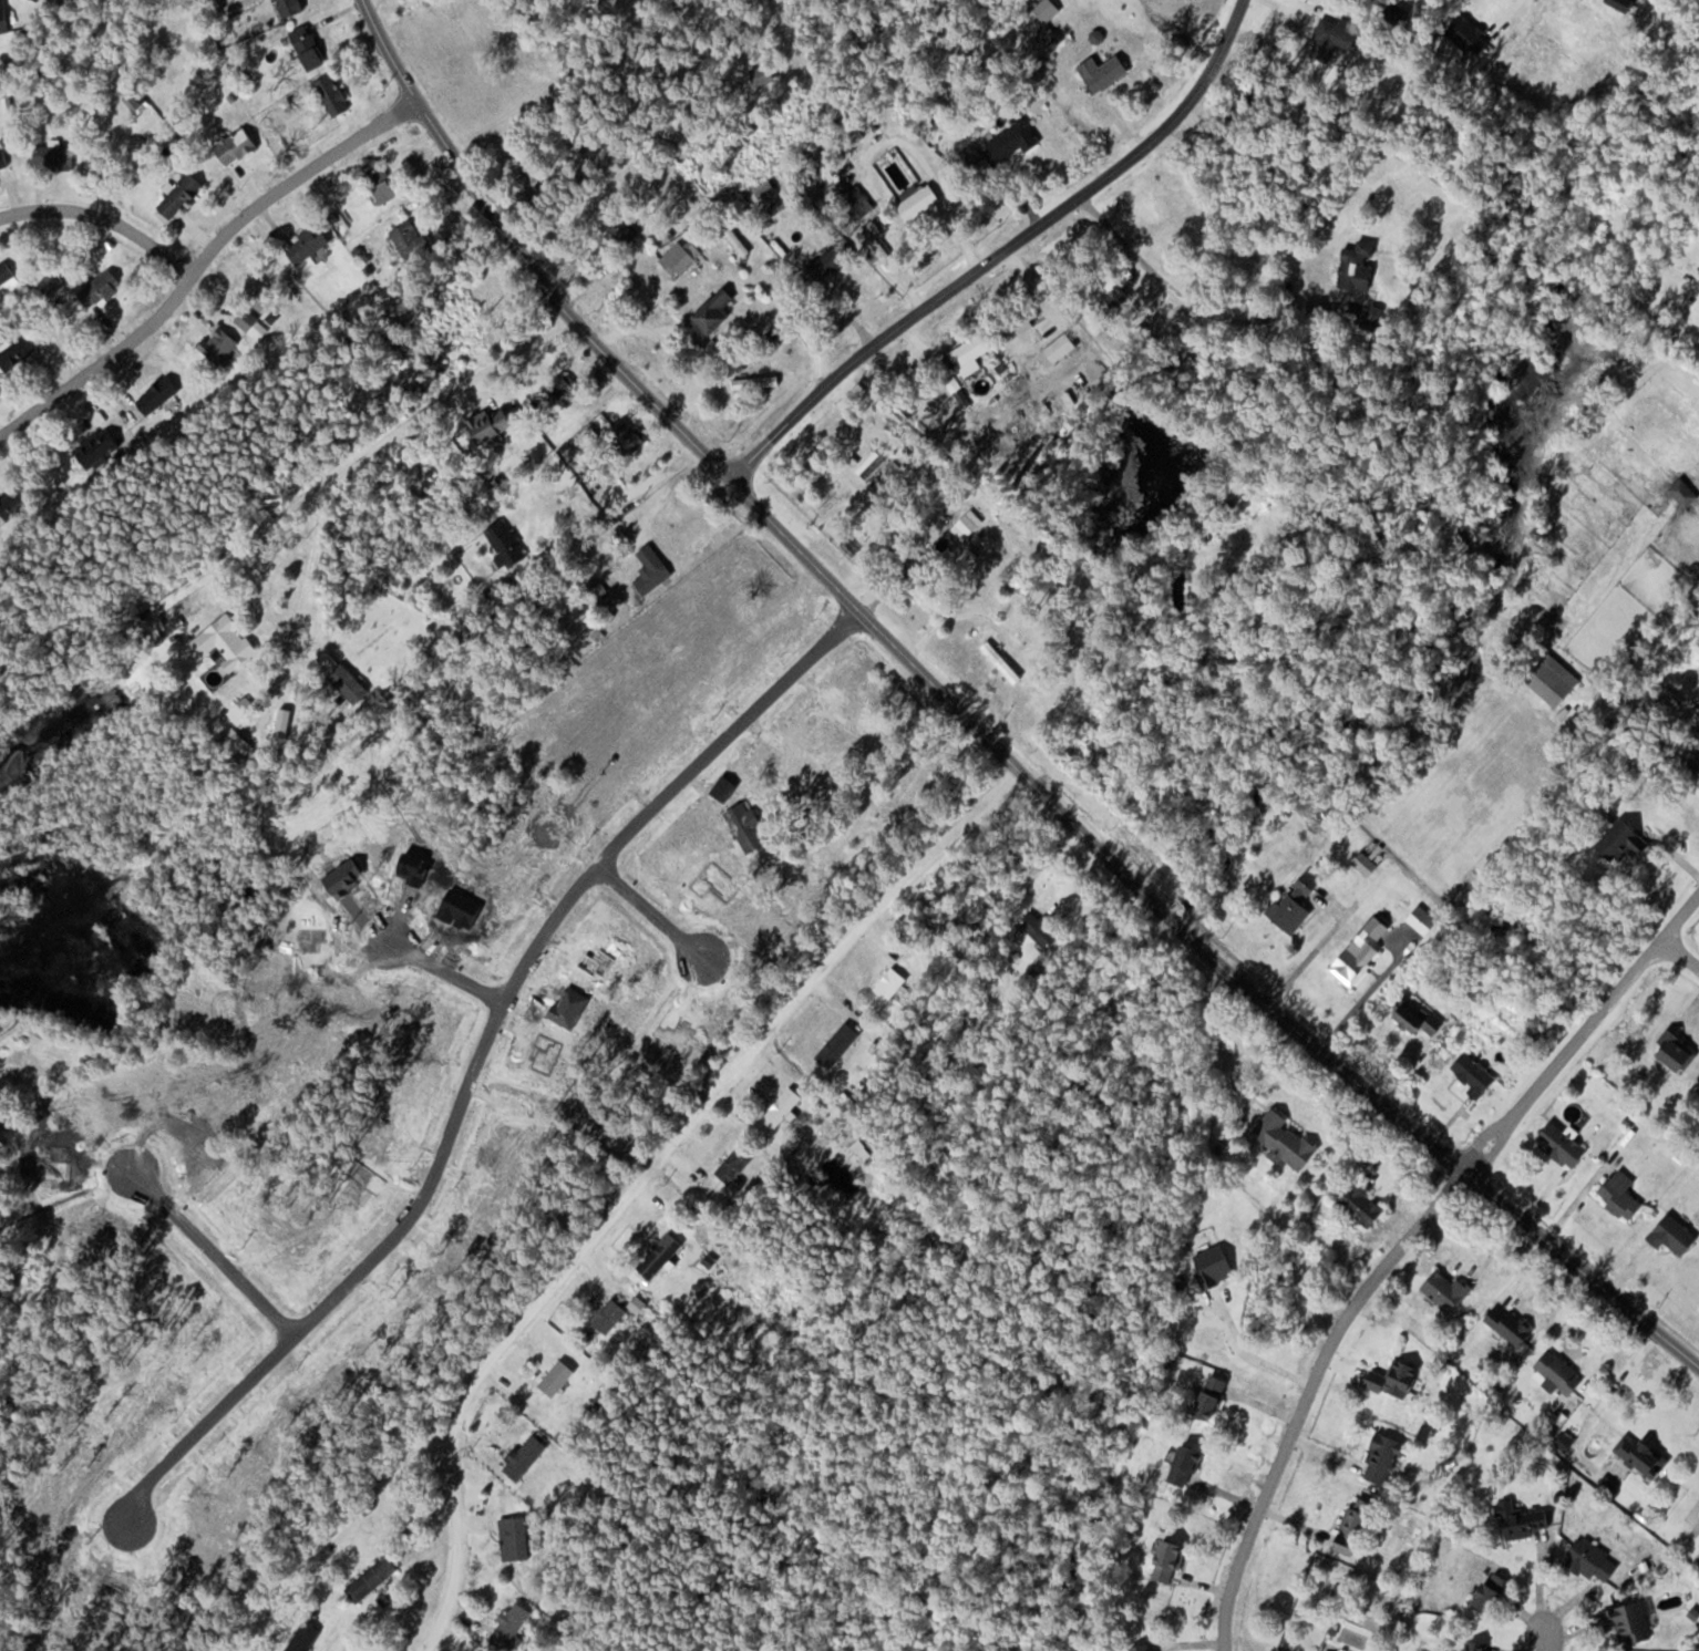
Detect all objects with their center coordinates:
building: (39, 0)
building: (291, 7)
building: (1048, 10)
building: (3, 17)
building: (1335, 37)
building: (309, 48)
building: (1105, 72)
building: (764, 74)
building: (334, 95)
building: (136, 99)
building: (1012, 142)
building: (237, 145)
building: (55, 154)
building: (3, 158)
building: (534, 169)
building: (381, 180)
building: (182, 194)
building: (918, 199)
building: (783, 208)
road: (104, 216)
building: (620, 230)
building: (411, 237)
building: (738, 240)
building: (308, 243)
building: (881, 248)
road: (1003, 254)
building: (681, 256)
road: (203, 261)
building: (832, 261)
building: (1359, 265)
building: (6, 272)
building: (1119, 282)
building: (101, 288)
road: (1180, 291)
building: (713, 312)
building: (253, 323)
building: (220, 344)
building: (974, 351)
building: (19, 352)
building: (756, 382)
building: (158, 394)
building: (492, 425)
road: (387, 435)
building: (99, 447)
building: (872, 464)
building: (885, 474)
building: (19, 501)
building: (760, 567)
building: (652, 568)
building: (231, 640)
building: (1002, 661)
building: (1555, 680)
building: (696, 683)
building: (245, 708)
road: (979, 730)
building: (746, 827)
building: (1625, 840)
building: (1366, 864)
building: (689, 873)
building: (1295, 905)
building: (1423, 923)
building: (1042, 929)
road: (1314, 951)
building: (1362, 951)
road: (1680, 955)
building: (893, 983)
road: (1370, 988)
building: (1417, 1015)
road: (1584, 1030)
building: (840, 1044)
building: (1678, 1051)
building: (1475, 1073)
building: (784, 1107)
building: (1287, 1141)
building: (1564, 1144)
building: (737, 1164)
road: (655, 1180)
building: (1623, 1195)
building: (1365, 1205)
building: (661, 1255)
building: (1446, 1290)
building: (639, 1304)
building: (611, 1315)
building: (1562, 1373)
building: (558, 1377)
building: (1397, 1380)
road: (1310, 1390)
building: (1213, 1399)
building: (527, 1457)
building: (1645, 1457)
building: (1386, 1458)
building: (1187, 1465)
building: (1528, 1524)
building: (1356, 1527)
building: (518, 1538)
building: (1170, 1560)
building: (1595, 1560)
building: (372, 1579)
building: (1495, 1592)
building: (1631, 1622)
building: (513, 1627)
road: (1549, 1634)
building: (306, 1638)
building: (1479, 1645)
building: (1144, 1648)

